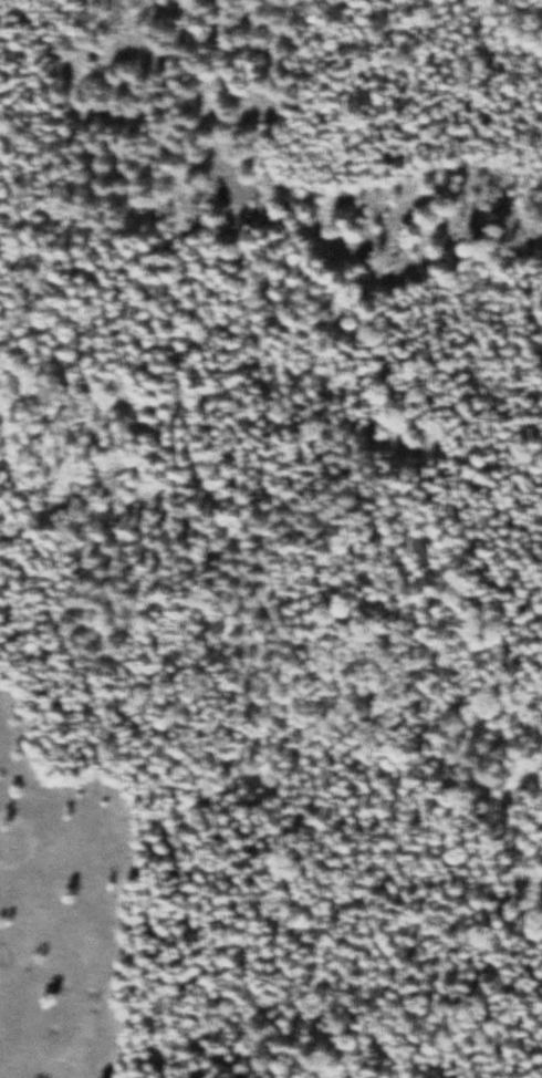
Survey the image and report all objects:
park: (271, 539)

